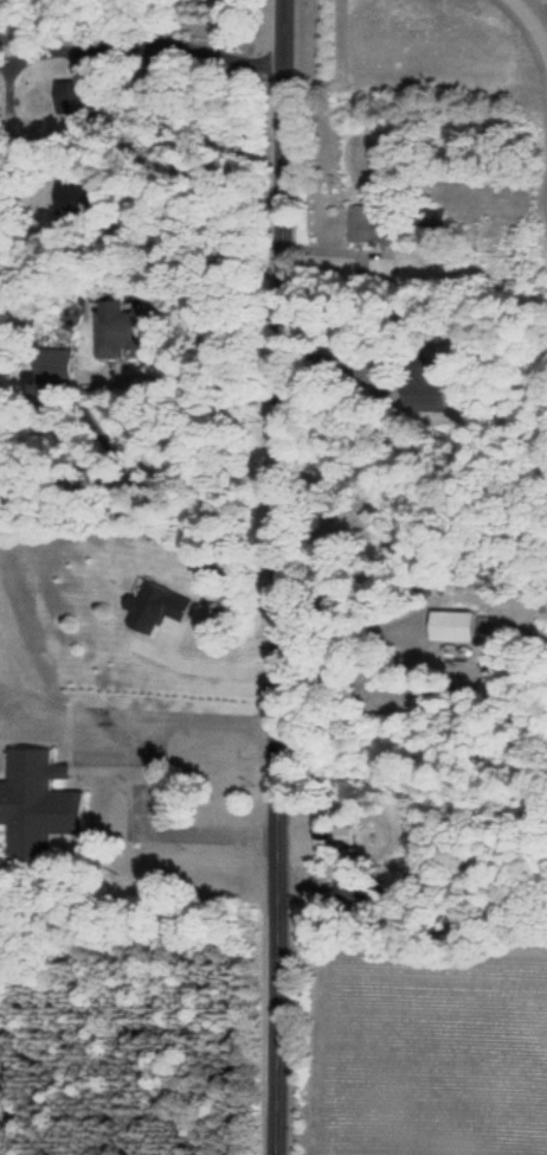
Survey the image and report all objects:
road: (534, 18)
building: (77, 100)
building: (75, 199)
building: (373, 226)
building: (117, 333)
building: (421, 388)
building: (381, 517)
road: (278, 576)
building: (456, 628)
building: (33, 630)
building: (40, 815)
building: (341, 841)
building: (353, 892)

